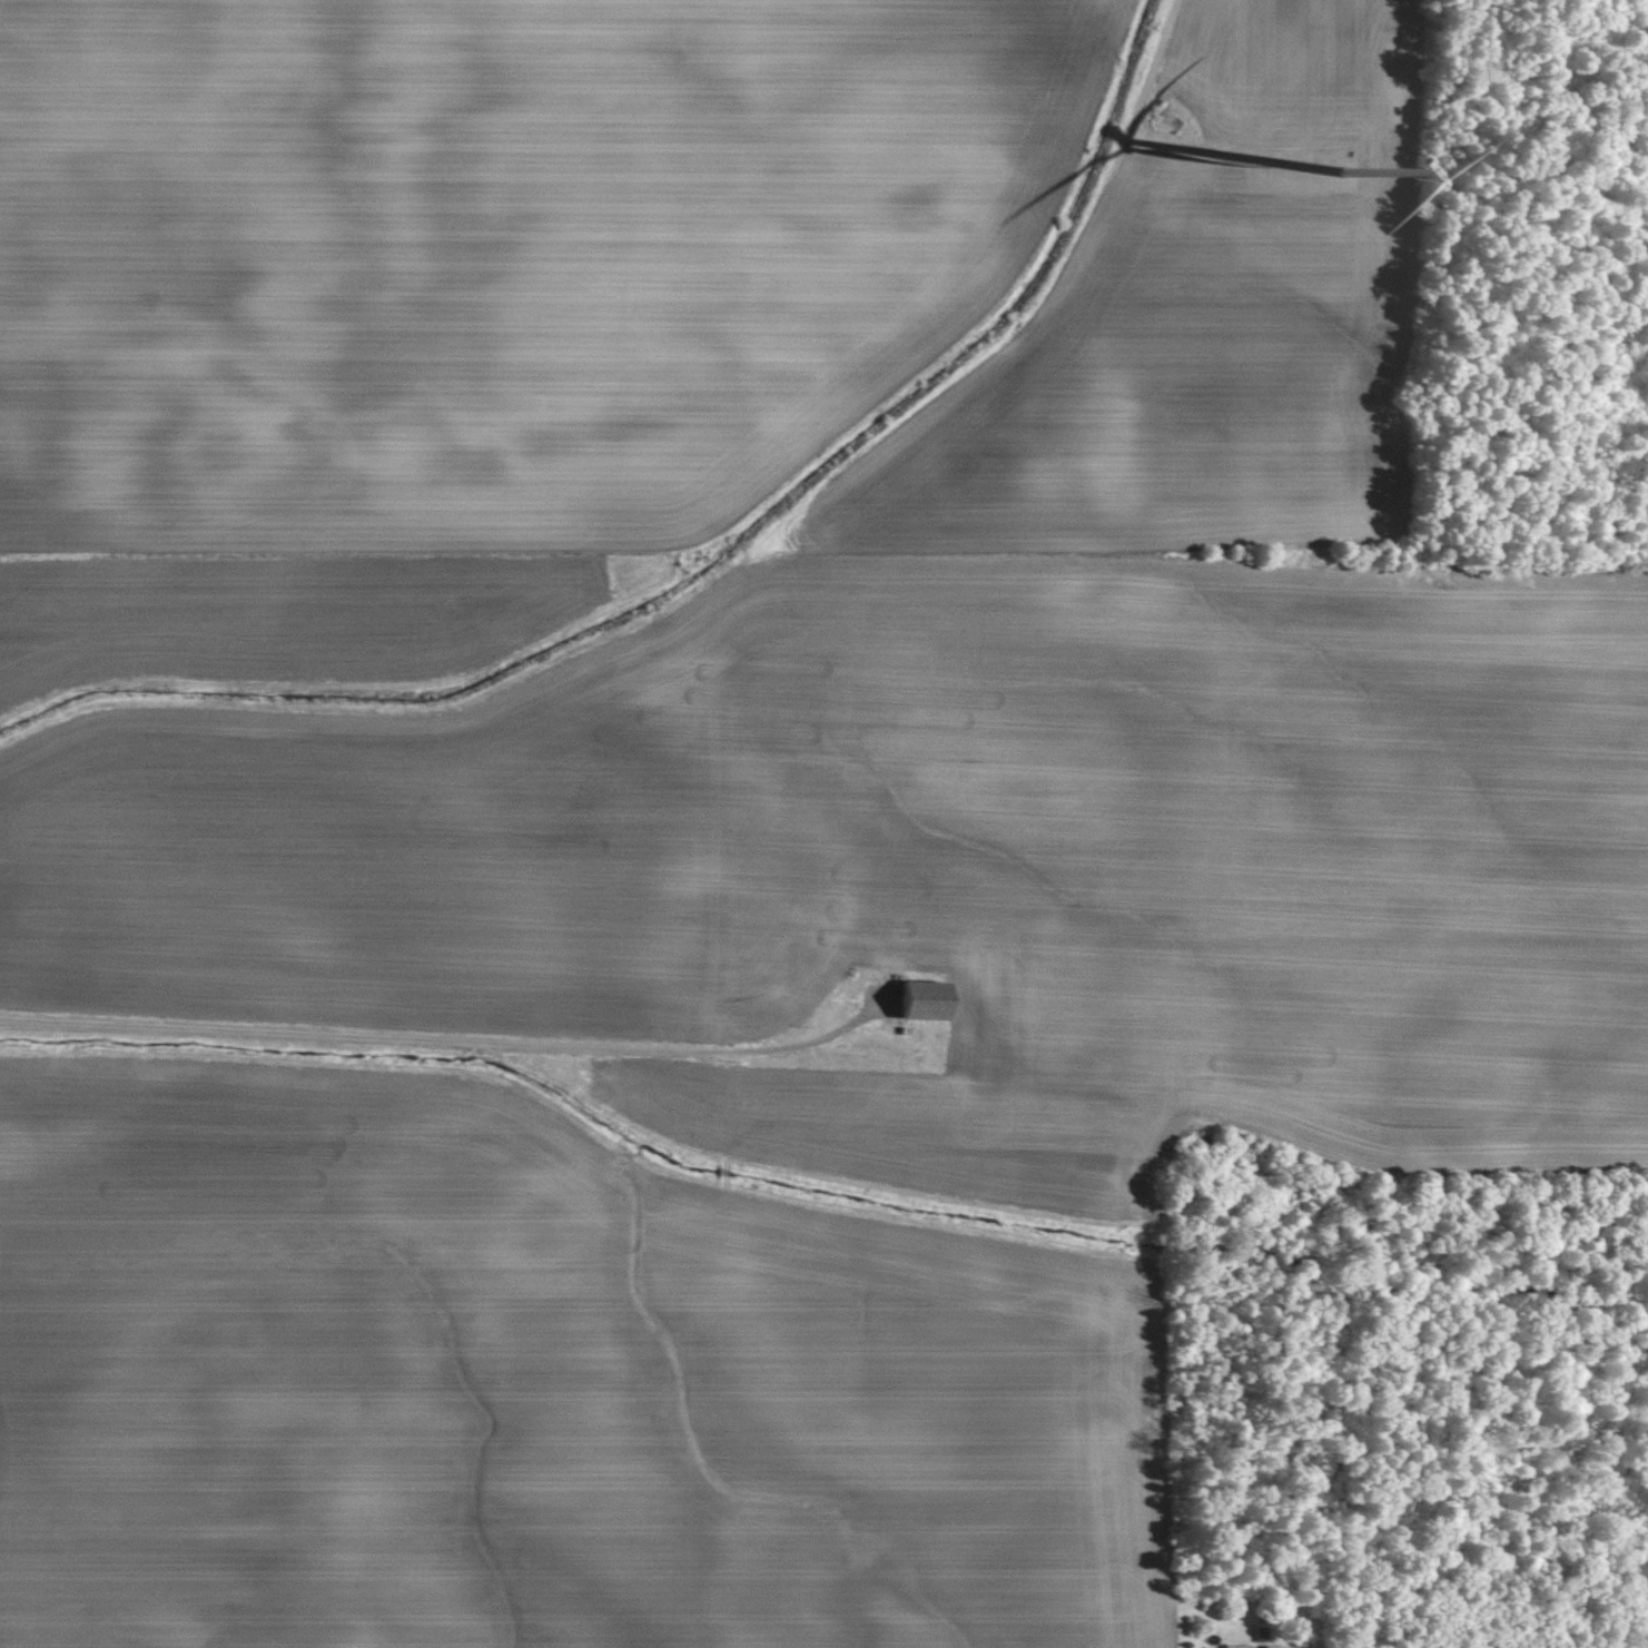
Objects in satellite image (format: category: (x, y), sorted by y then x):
wind turbine: (1346, 167)
building: (912, 998)
road: (445, 1044)
building: (1232, 1645)
building: (1266, 1645)

